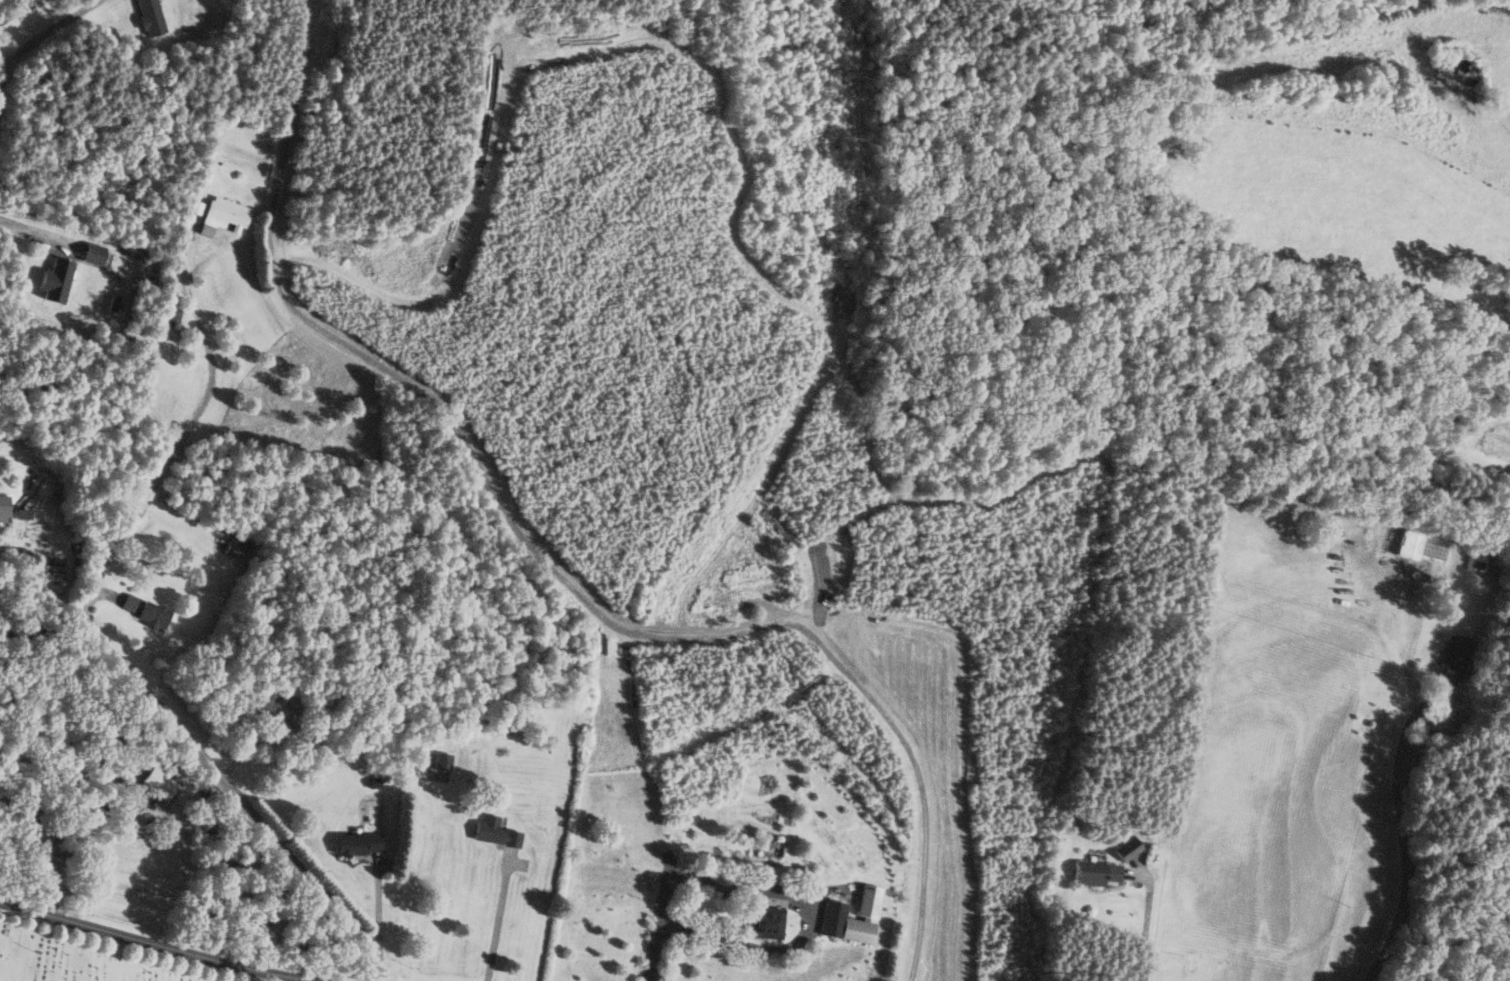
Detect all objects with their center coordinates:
building: (150, 17)
road: (40, 35)
building: (223, 215)
building: (93, 254)
road: (180, 441)
building: (4, 503)
building: (236, 546)
building: (1433, 549)
building: (1477, 560)
building: (153, 614)
building: (1456, 656)
building: (287, 711)
building: (1438, 720)
building: (442, 760)
road: (211, 770)
road: (690, 806)
building: (27, 815)
building: (495, 829)
road: (1402, 832)
building: (358, 842)
building: (62, 847)
building: (1128, 848)
building: (1095, 872)
building: (834, 909)
road: (378, 913)
road: (498, 921)
building: (765, 922)
road: (1148, 922)
road: (154, 943)
park: (83, 959)

